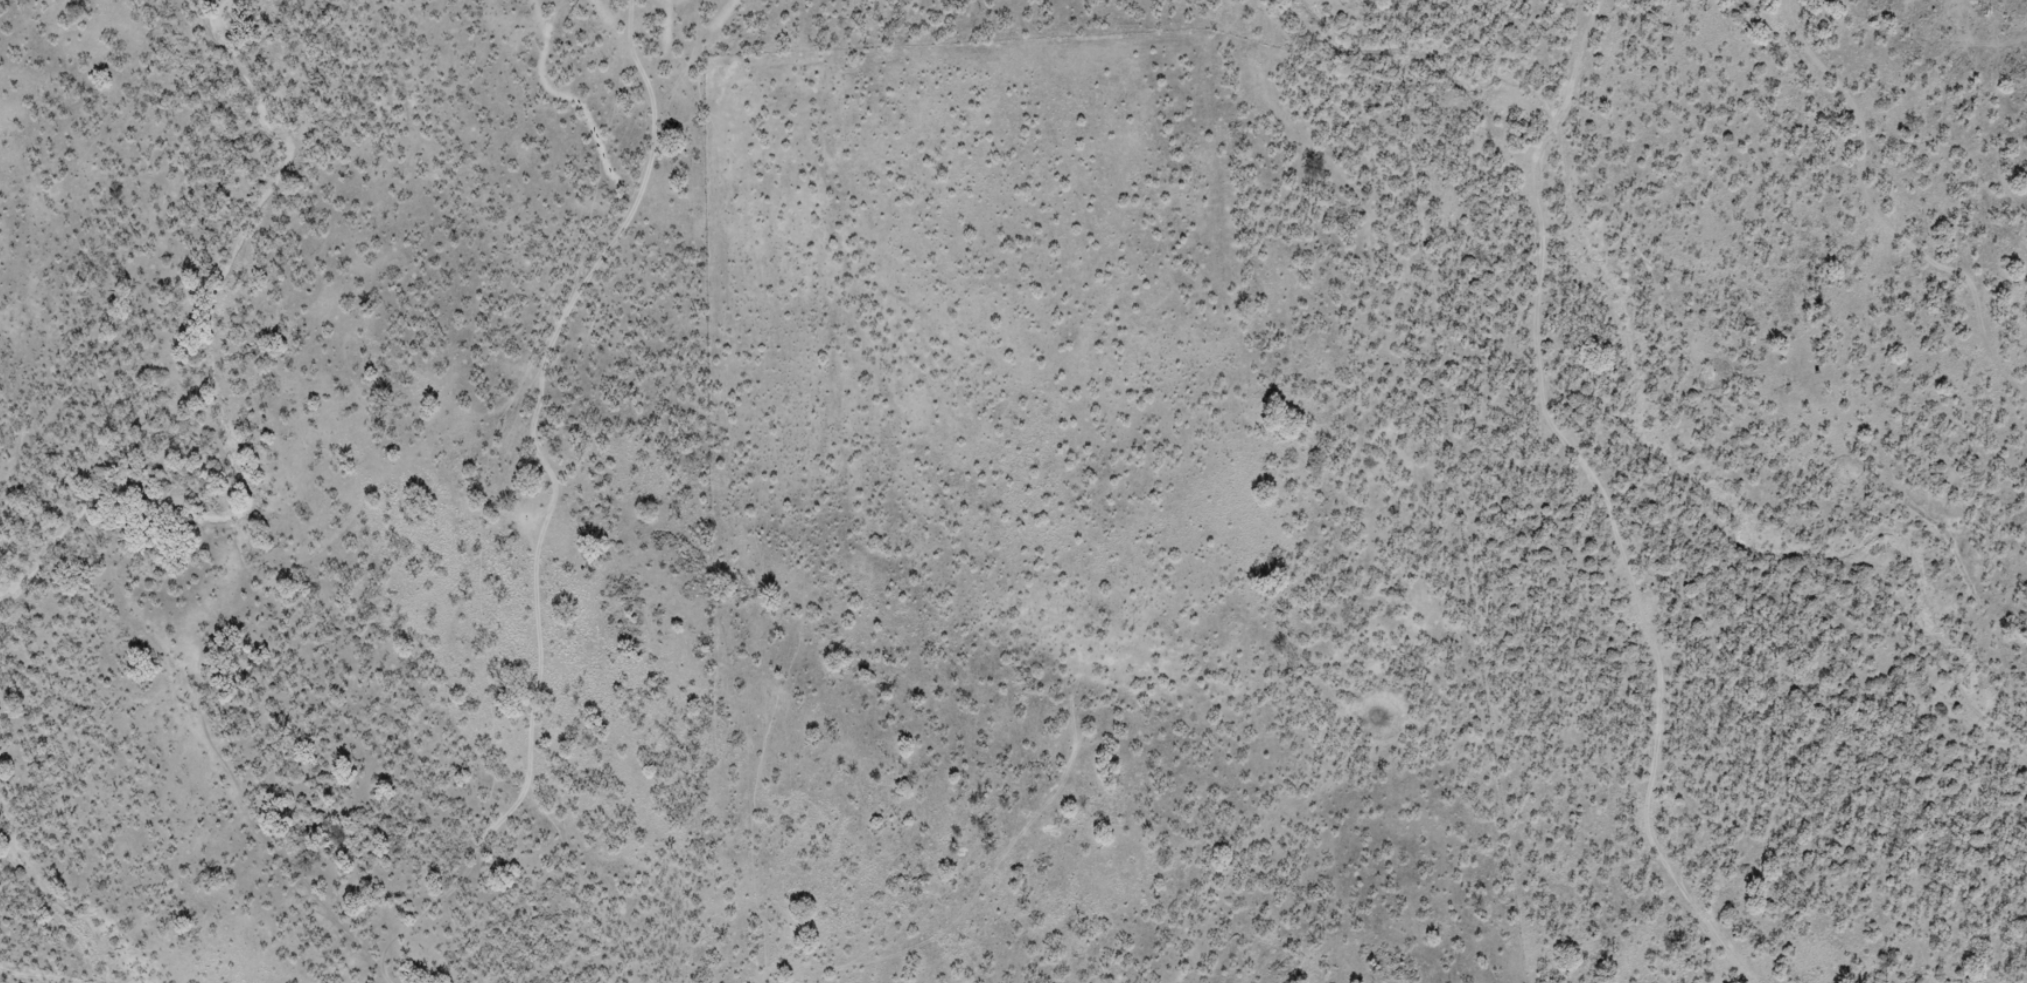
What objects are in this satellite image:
road: (1631, 582)

